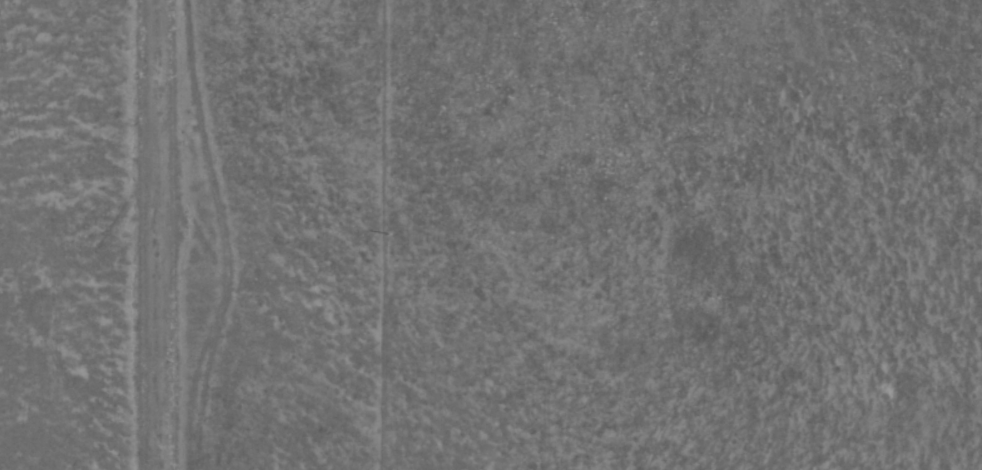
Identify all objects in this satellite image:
road: (198, 235)

